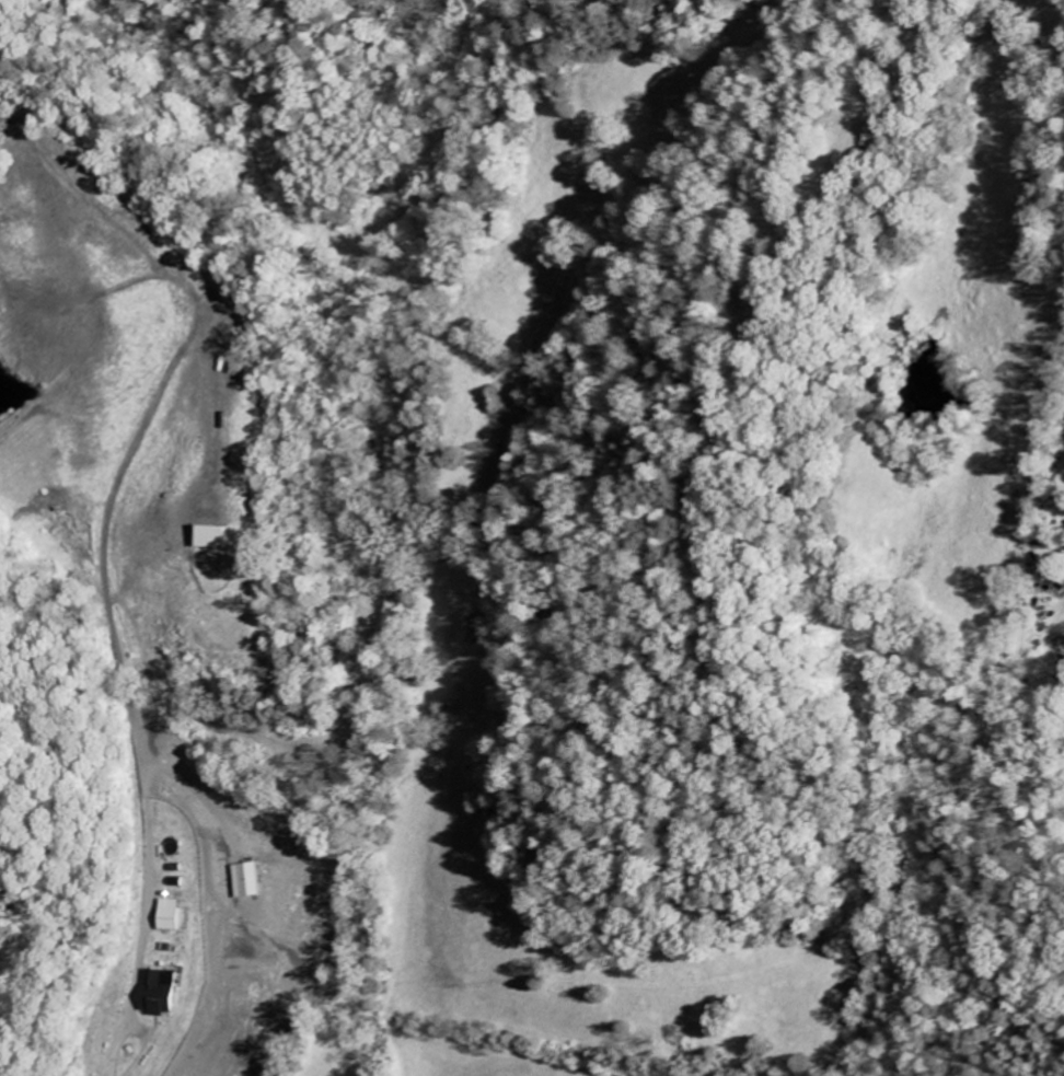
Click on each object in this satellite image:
building: (220, 537)
road: (103, 545)
building: (253, 881)
building: (164, 996)
road: (139, 1029)
road: (102, 1073)

